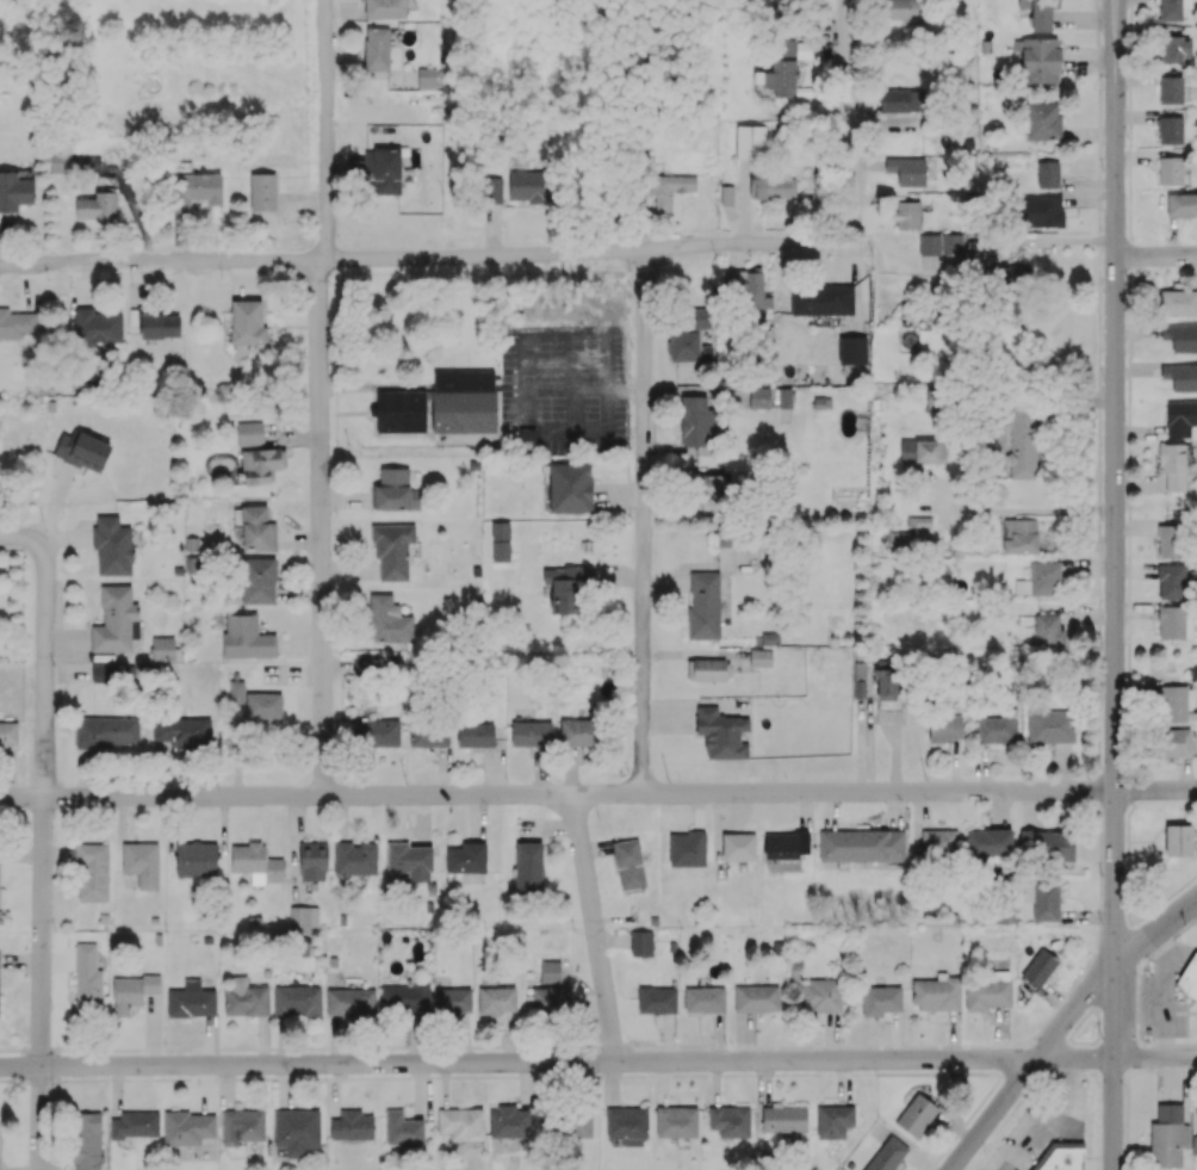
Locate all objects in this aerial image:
building: (786, 4)
building: (385, 8)
building: (1172, 10)
building: (904, 11)
road: (1131, 12)
building: (1040, 13)
building: (377, 48)
building: (1173, 48)
road: (1130, 50)
building: (1038, 58)
building: (783, 67)
building: (1170, 89)
building: (897, 100)
road: (850, 116)
building: (1043, 119)
building: (1170, 129)
building: (750, 141)
road: (1129, 160)
building: (61, 161)
building: (384, 169)
building: (907, 169)
building: (1171, 169)
building: (1047, 174)
building: (526, 185)
building: (777, 187)
building: (670, 188)
building: (196, 190)
building: (491, 190)
building: (14, 191)
building: (262, 191)
building: (726, 194)
building: (1182, 204)
building: (98, 205)
building: (1042, 210)
building: (907, 215)
building: (939, 243)
road: (1130, 250)
road: (1156, 255)
road: (423, 256)
road: (978, 256)
building: (1013, 276)
road: (1129, 277)
road: (283, 284)
building: (748, 287)
building: (821, 299)
building: (1178, 303)
road: (1129, 308)
building: (699, 317)
building: (247, 322)
building: (97, 326)
building: (160, 326)
building: (24, 329)
building: (1180, 338)
building: (683, 345)
building: (852, 349)
road: (1129, 355)
building: (1180, 376)
road: (320, 397)
building: (759, 397)
building: (784, 397)
road: (1129, 400)
building: (464, 401)
building: (401, 410)
building: (1180, 417)
building: (695, 421)
road: (1129, 428)
building: (249, 433)
building: (527, 438)
building: (1023, 441)
road: (1129, 444)
building: (82, 450)
building: (922, 450)
road: (1128, 463)
building: (261, 464)
building: (1172, 465)
road: (1115, 482)
building: (712, 484)
road: (1128, 485)
building: (570, 487)
building: (396, 490)
road: (1128, 497)
road: (1019, 508)
road: (643, 520)
building: (255, 528)
building: (727, 536)
building: (912, 536)
building: (1021, 536)
road: (18, 538)
building: (1171, 540)
building: (500, 541)
building: (112, 545)
building: (393, 550)
road: (1129, 557)
building: (258, 580)
building: (1040, 580)
building: (1171, 581)
building: (564, 587)
building: (703, 606)
building: (387, 619)
building: (116, 620)
building: (1173, 623)
road: (1128, 626)
building: (1048, 629)
building: (247, 637)
building: (770, 638)
building: (163, 649)
building: (761, 657)
road: (1128, 663)
building: (366, 666)
building: (706, 669)
building: (105, 673)
building: (860, 679)
building: (886, 683)
building: (236, 691)
building: (1172, 702)
building: (263, 705)
building: (1050, 726)
building: (945, 728)
building: (996, 729)
building: (181, 730)
building: (107, 731)
building: (376, 732)
building: (579, 732)
road: (1127, 732)
building: (429, 733)
building: (532, 733)
building: (721, 733)
building: (8, 735)
building: (475, 735)
building: (1173, 742)
road: (1155, 788)
road: (557, 794)
road: (1128, 835)
building: (1178, 840)
building: (988, 842)
building: (938, 843)
building: (1047, 843)
building: (784, 844)
building: (862, 844)
building: (738, 846)
building: (687, 848)
road: (43, 856)
building: (354, 858)
building: (466, 858)
building: (196, 859)
building: (312, 860)
building: (410, 860)
building: (142, 862)
building: (256, 862)
building: (628, 863)
building: (528, 867)
building: (92, 871)
road: (1178, 887)
road: (1128, 892)
building: (1046, 899)
road: (1149, 911)
building: (303, 916)
road: (1134, 923)
road: (594, 927)
road: (1156, 931)
road: (1133, 939)
road: (1168, 939)
building: (641, 942)
building: (1040, 967)
building: (550, 971)
building: (1189, 977)
building: (87, 980)
building: (987, 990)
building: (132, 991)
building: (937, 992)
building: (820, 993)
building: (246, 997)
building: (404, 998)
building: (756, 998)
building: (191, 999)
building: (497, 999)
building: (547, 999)
building: (657, 999)
building: (705, 999)
building: (881, 999)
building: (297, 1001)
building: (351, 1001)
building: (453, 1001)
road: (1137, 1002)
road: (1170, 1044)
road: (1133, 1053)
road: (1156, 1057)
road: (558, 1060)
road: (1029, 1064)
road: (1116, 1066)
road: (1162, 1067)
road: (1127, 1109)
building: (916, 1114)
building: (783, 1118)
road: (1047, 1119)
building: (833, 1120)
building: (509, 1121)
building: (676, 1121)
building: (730, 1121)
building: (461, 1122)
building: (135, 1123)
building: (352, 1125)
building: (571, 1125)
building: (627, 1125)
building: (242, 1126)
building: (187, 1127)
building: (403, 1128)
building: (297, 1131)
building: (1167, 1135)
building: (87, 1140)
building: (887, 1154)
building: (1062, 1157)
road: (1125, 1160)

